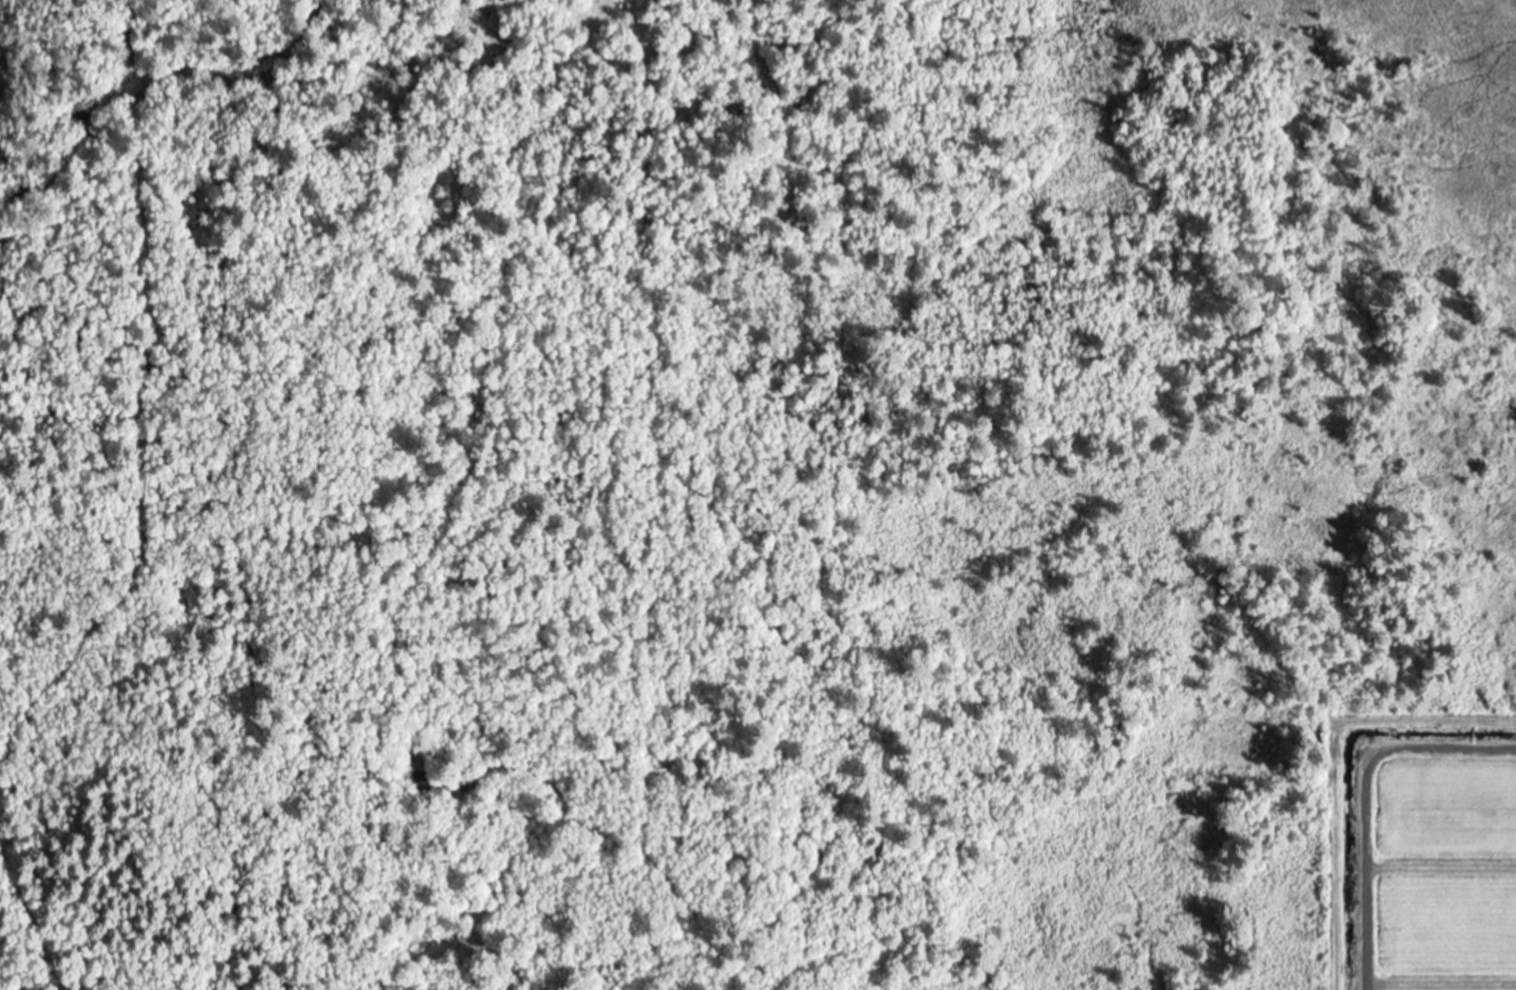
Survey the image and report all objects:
crop: (1423, 849)

